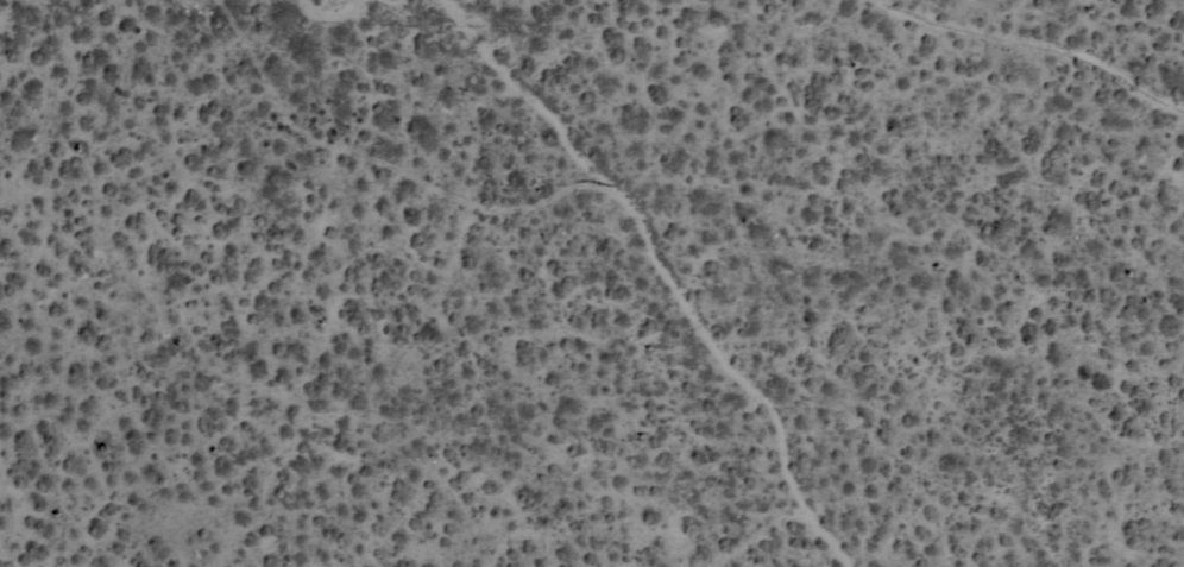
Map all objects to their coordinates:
road: (1045, 42)

